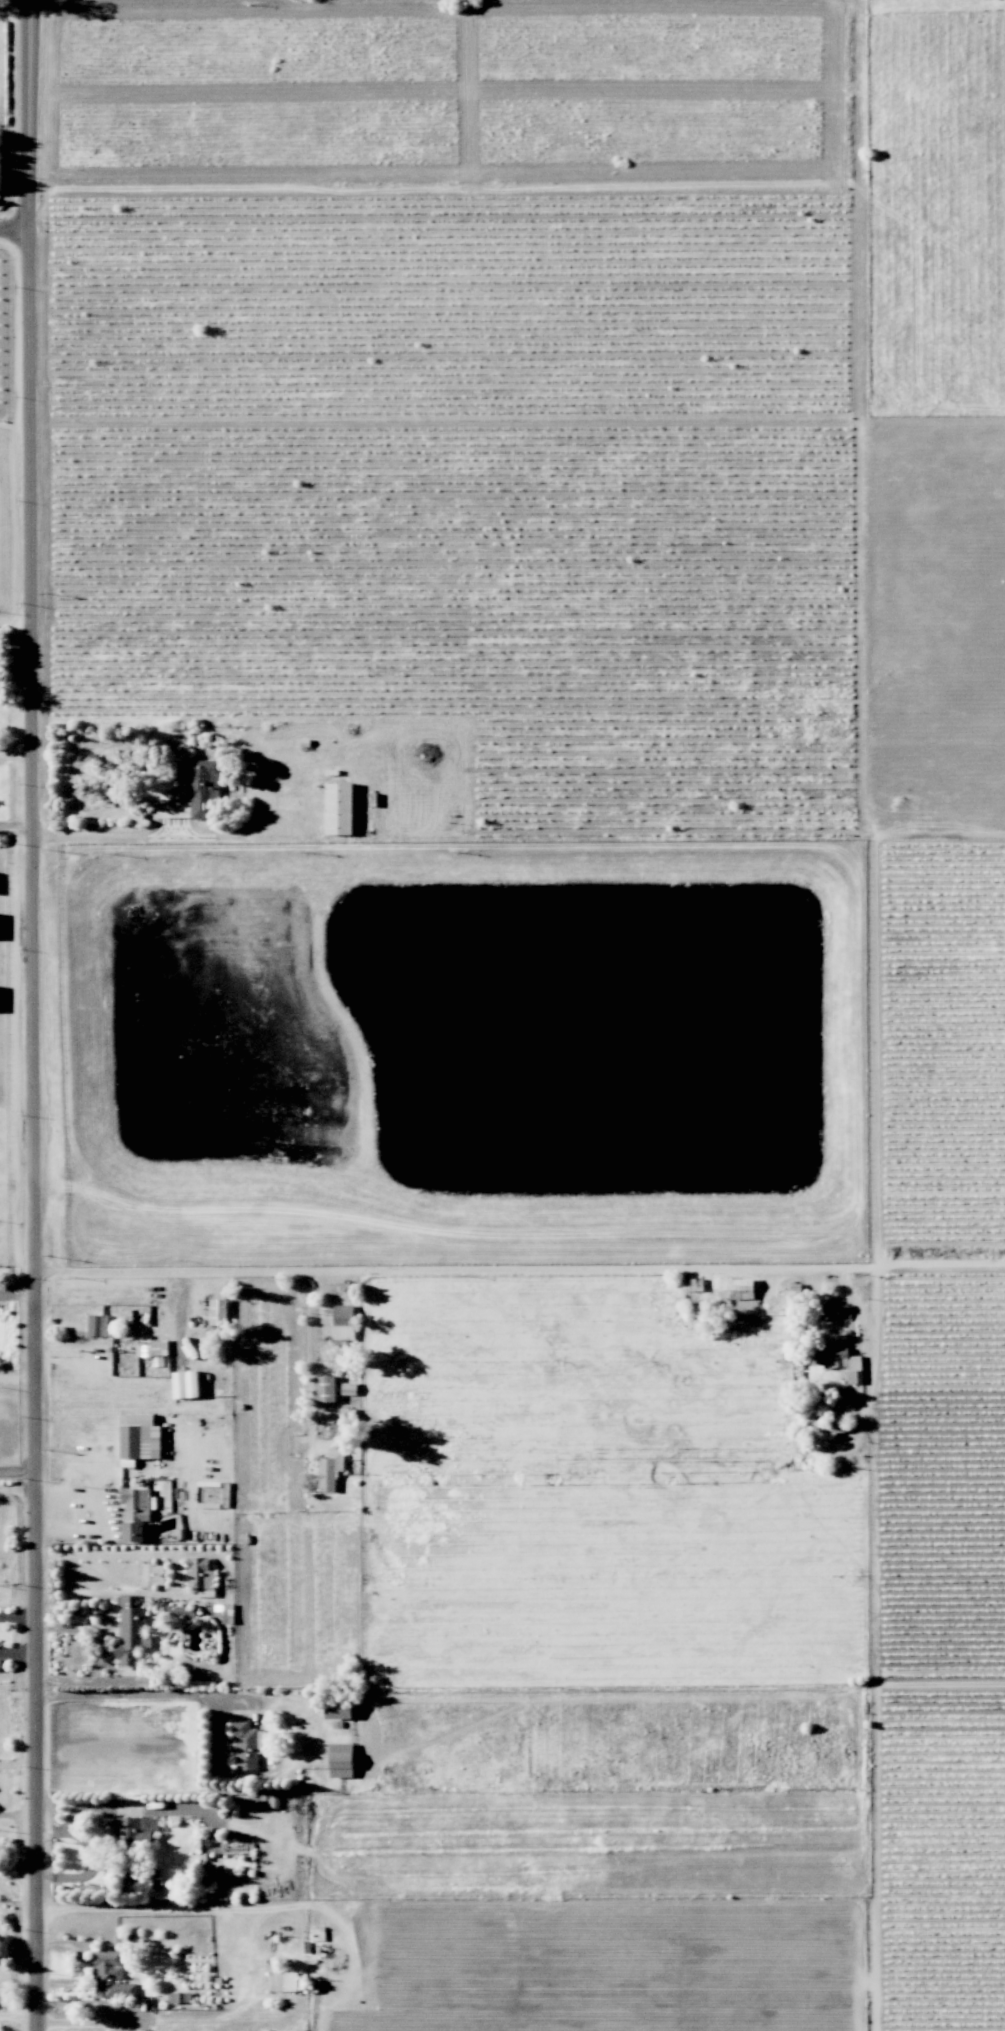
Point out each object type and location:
road: (13, 233)
road: (14, 759)
building: (200, 787)
building: (338, 809)
road: (14, 829)
road: (114, 837)
road: (30, 1015)
crop: (937, 1050)
road: (518, 1268)
building: (737, 1288)
road: (16, 1291)
building: (218, 1312)
building: (343, 1322)
building: (99, 1326)
building: (153, 1351)
road: (310, 1354)
building: (835, 1359)
road: (16, 1378)
building: (185, 1384)
building: (325, 1389)
building: (348, 1389)
building: (823, 1430)
building: (139, 1446)
building: (330, 1469)
road: (16, 1470)
road: (16, 1487)
road: (102, 1514)
building: (181, 1611)
building: (221, 1612)
building: (130, 1633)
road: (150, 1695)
building: (338, 1708)
building: (247, 1744)
building: (340, 1760)
building: (128, 1845)
building: (109, 1975)
building: (284, 1981)
building: (179, 1997)

